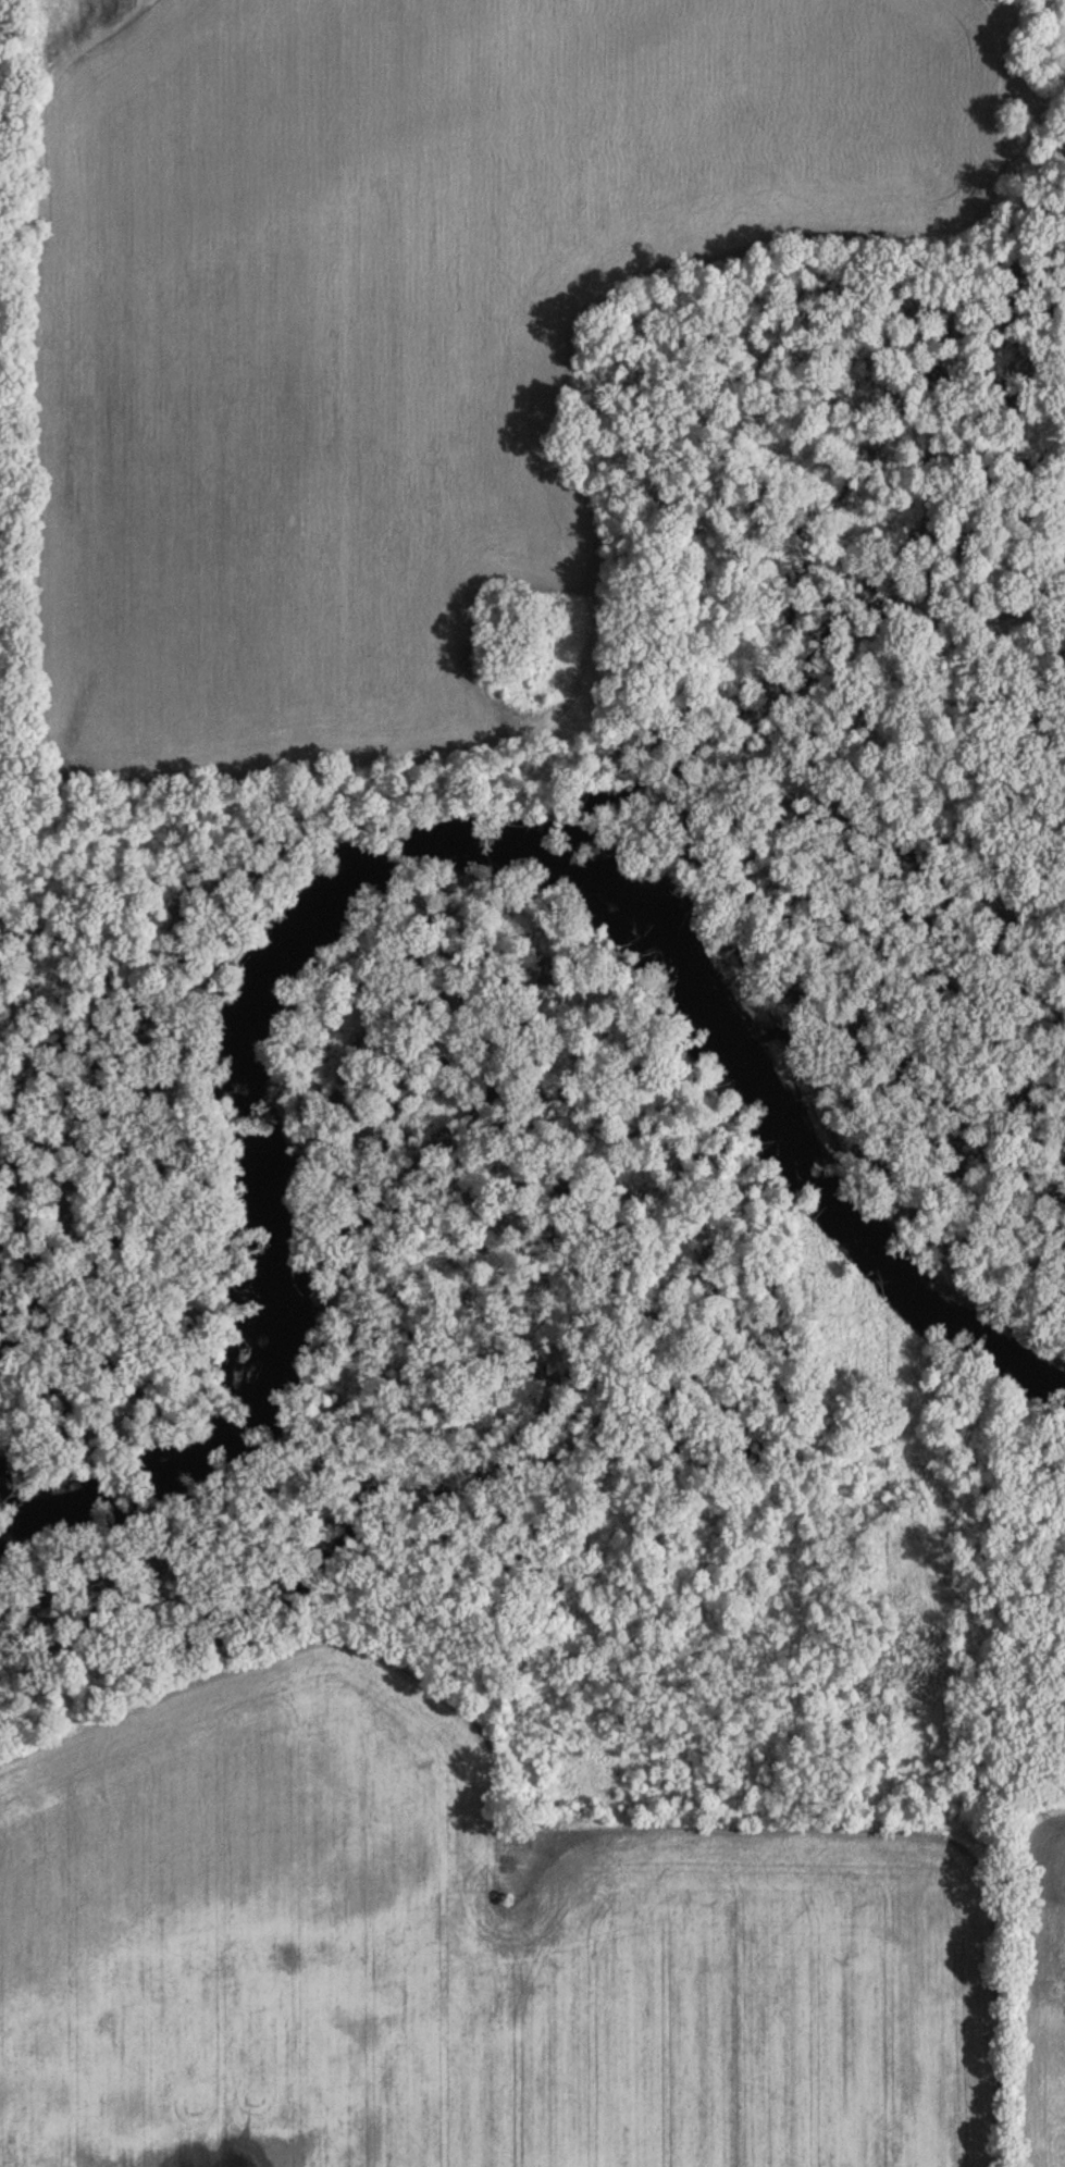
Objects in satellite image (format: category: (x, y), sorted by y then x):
river: (392, 852)

